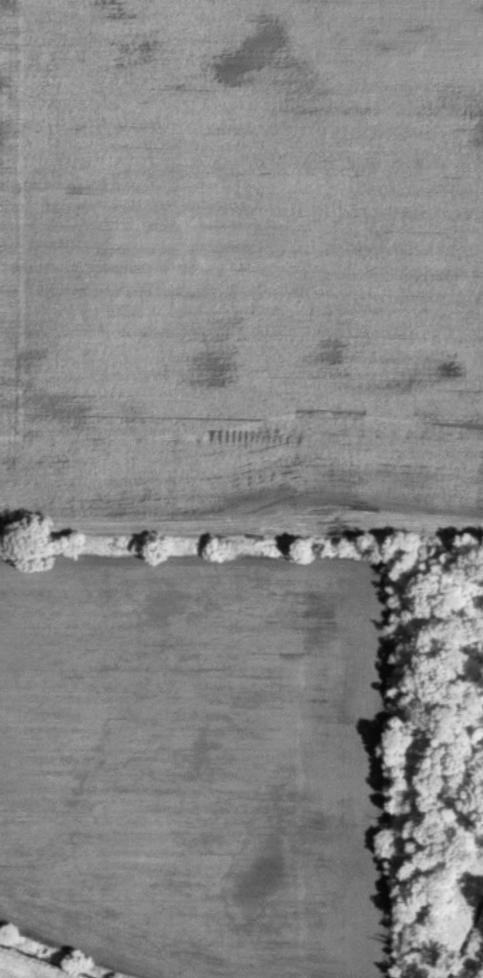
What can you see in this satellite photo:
crop: (221, 459)

